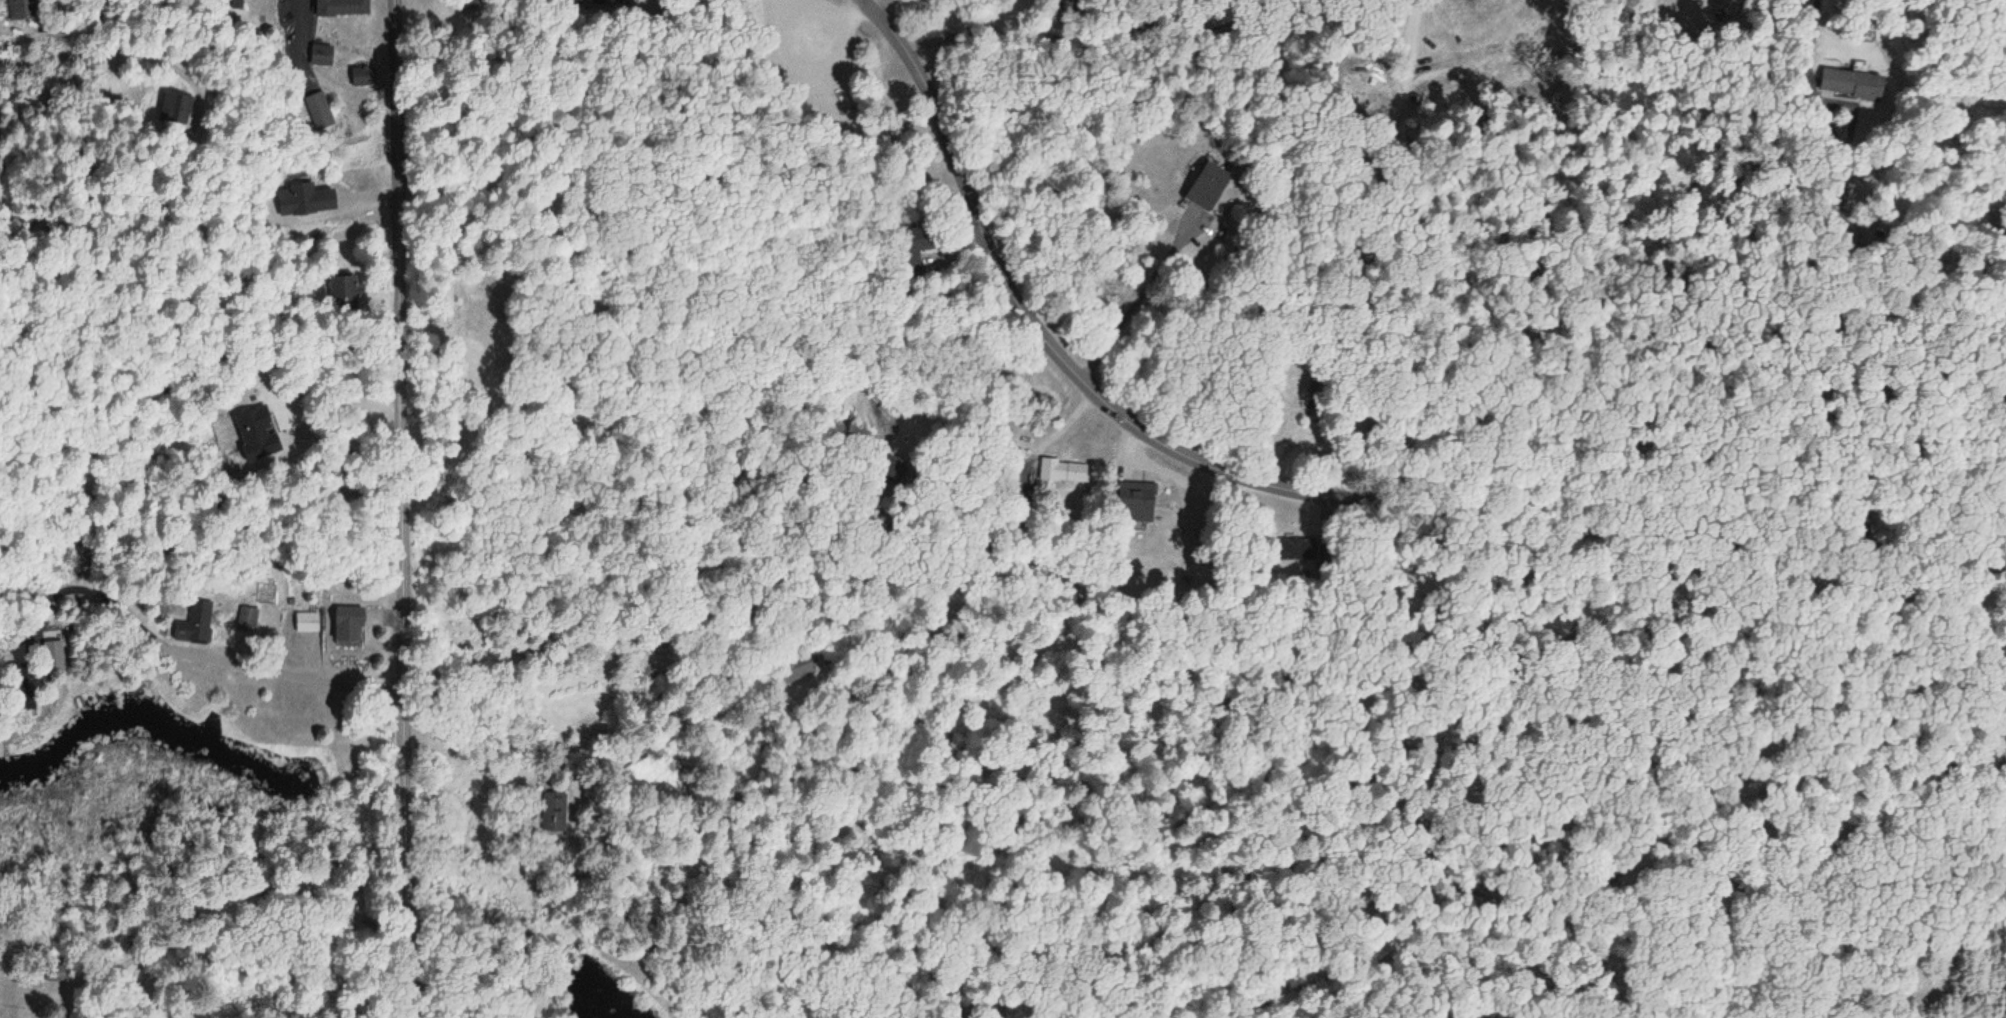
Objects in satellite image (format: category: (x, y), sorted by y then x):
building: (231, 0)
road: (877, 3)
building: (472, 4)
building: (20, 8)
building: (341, 8)
parking lot: (815, 53)
building: (319, 55)
building: (362, 77)
building: (1849, 83)
building: (172, 110)
building: (318, 111)
building: (1205, 186)
building: (918, 243)
road: (1381, 251)
building: (340, 292)
park: (781, 296)
building: (1317, 392)
building: (1062, 471)
building: (1132, 495)
road: (1307, 497)
road: (395, 509)
building: (1293, 548)
building: (193, 623)
building: (306, 623)
building: (345, 626)
road: (177, 648)
building: (799, 671)
building: (16, 688)
building: (551, 812)

